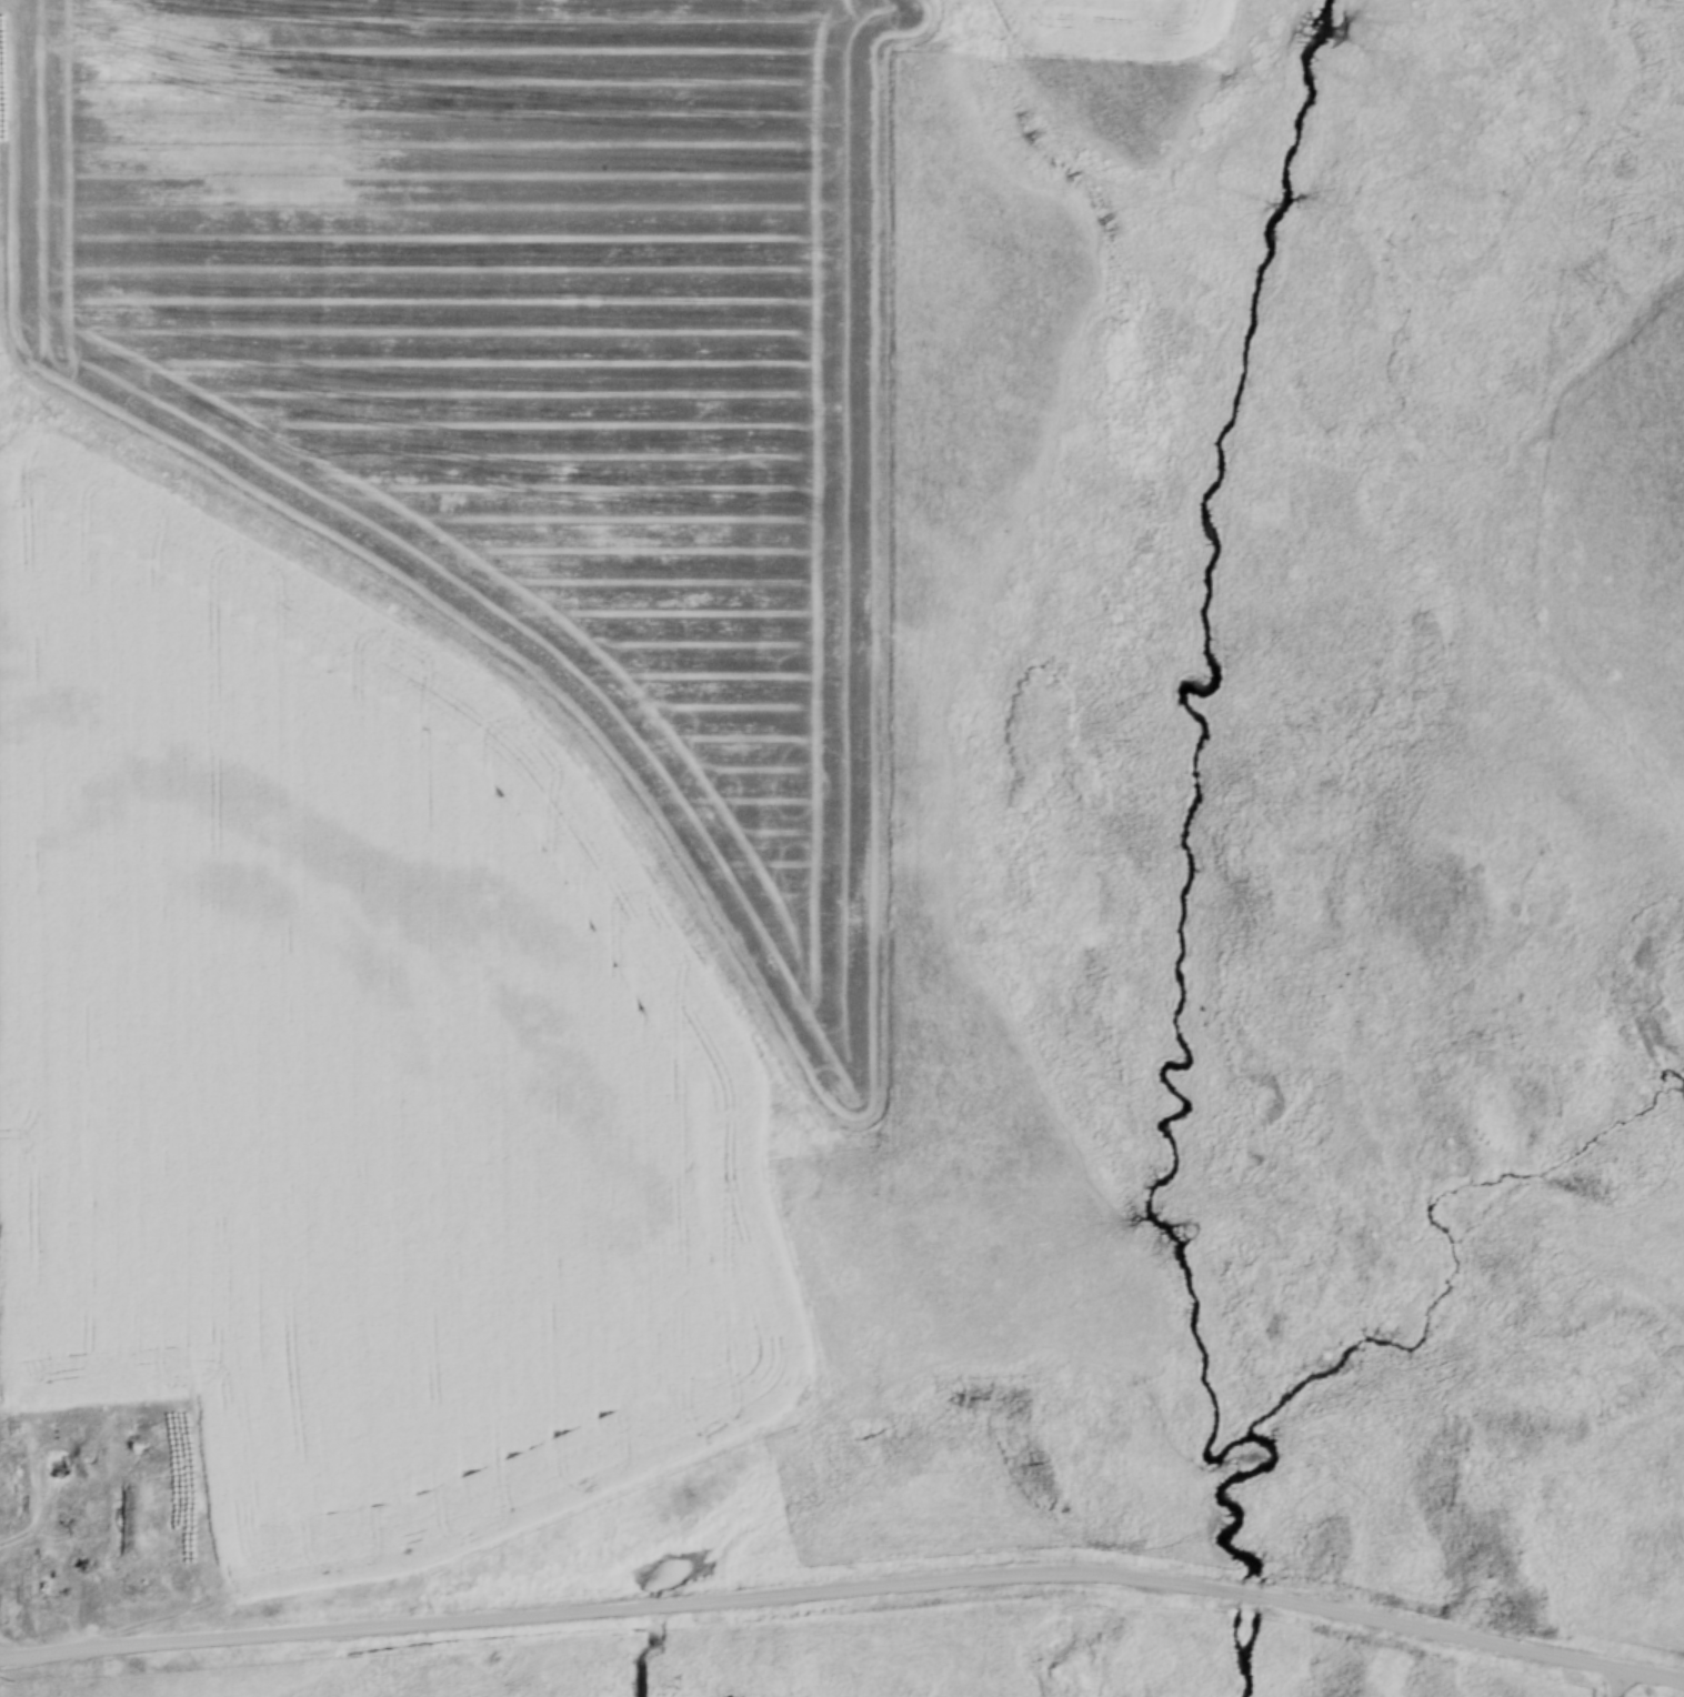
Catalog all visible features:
building: (24, 1578)
road: (845, 1587)
road: (1618, 1681)
building: (30, 1691)

